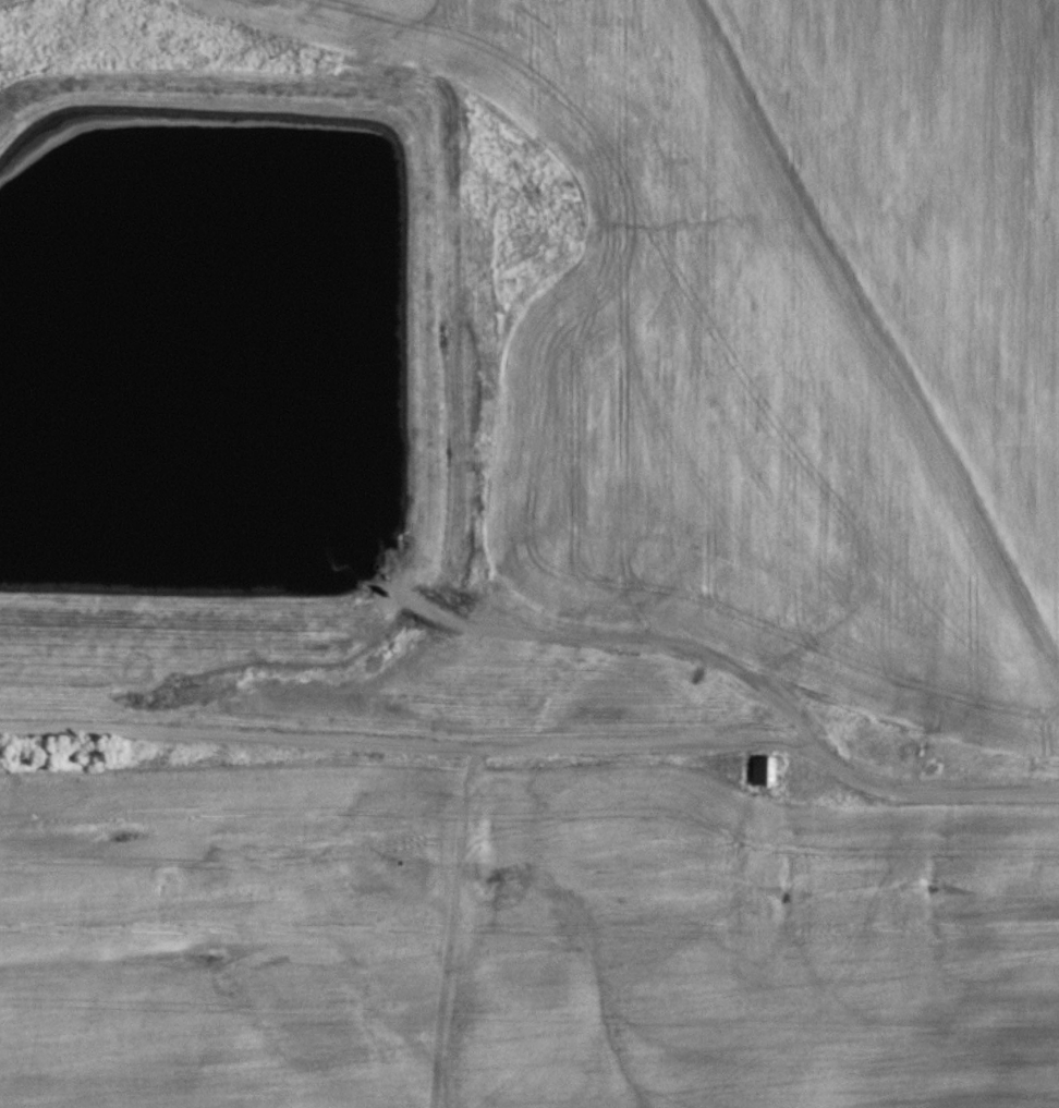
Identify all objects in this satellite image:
road: (880, 342)
road: (441, 734)
road: (964, 784)

